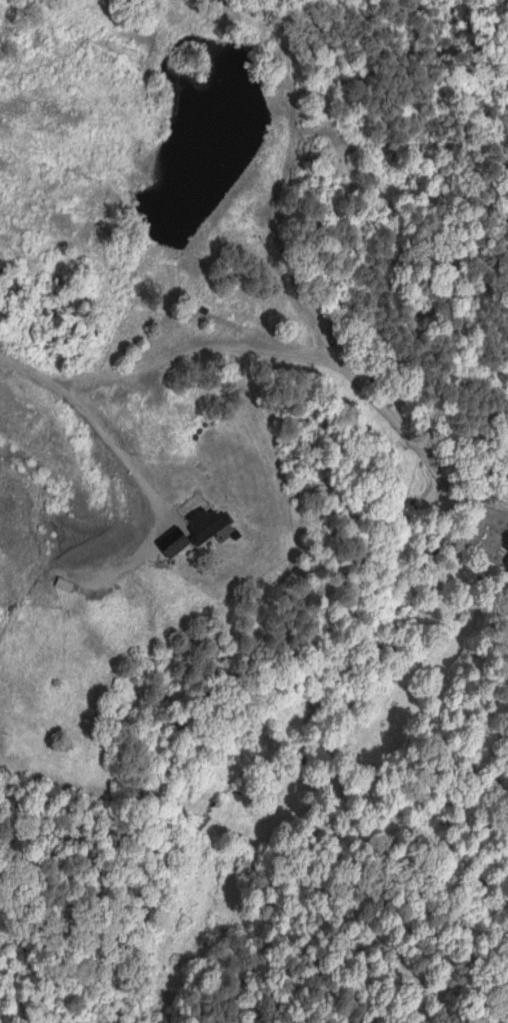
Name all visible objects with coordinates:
road: (195, 345)

